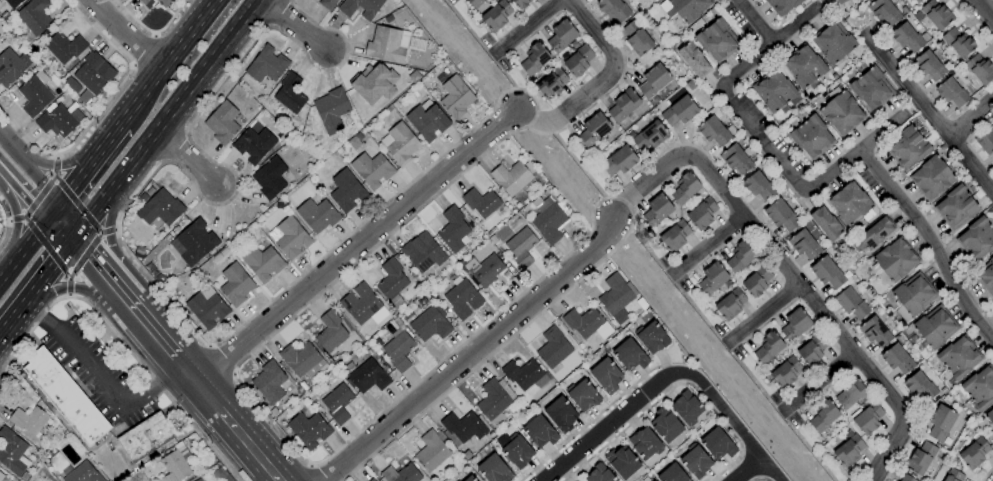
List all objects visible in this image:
building: (840, 1)
building: (914, 1)
building: (917, 1)
building: (143, 2)
building: (521, 2)
building: (13, 3)
building: (163, 3)
building: (474, 3)
building: (328, 4)
building: (782, 5)
building: (360, 8)
building: (684, 8)
building: (613, 9)
building: (883, 11)
road: (983, 11)
building: (936, 14)
building: (496, 15)
building: (35, 16)
road: (751, 21)
road: (291, 23)
road: (972, 25)
road: (529, 29)
road: (151, 31)
road: (126, 32)
road: (154, 35)
building: (561, 36)
building: (907, 37)
building: (637, 38)
building: (717, 40)
building: (833, 41)
road: (181, 42)
building: (958, 42)
building: (392, 44)
building: (64, 47)
road: (142, 49)
road: (468, 57)
building: (534, 59)
building: (578, 60)
building: (693, 60)
road: (131, 64)
building: (266, 65)
building: (928, 65)
building: (11, 66)
building: (803, 66)
building: (980, 69)
building: (93, 76)
building: (653, 82)
building: (374, 83)
building: (551, 84)
road: (603, 86)
building: (871, 89)
building: (775, 91)
building: (952, 92)
building: (290, 93)
building: (35, 94)
road: (182, 94)
building: (456, 97)
road: (136, 103)
building: (623, 105)
road: (925, 107)
road: (101, 108)
building: (331, 110)
building: (679, 111)
building: (842, 113)
road: (970, 117)
building: (59, 120)
building: (427, 120)
building: (222, 123)
building: (593, 129)
building: (714, 129)
road: (114, 131)
building: (649, 136)
building: (811, 137)
building: (985, 140)
road: (767, 141)
building: (400, 143)
building: (254, 145)
building: (908, 148)
road: (9, 149)
road: (185, 157)
road: (56, 158)
building: (736, 159)
building: (619, 161)
road: (64, 164)
road: (54, 169)
building: (372, 169)
road: (463, 171)
road: (1, 172)
road: (81, 173)
building: (931, 177)
building: (270, 178)
building: (511, 178)
road: (37, 181)
building: (758, 186)
building: (684, 188)
building: (346, 191)
road: (24, 196)
road: (38, 198)
building: (483, 203)
building: (850, 203)
traffic signals: (57, 204)
road: (77, 205)
building: (956, 207)
building: (160, 208)
building: (657, 210)
road: (51, 211)
building: (701, 213)
road: (90, 214)
building: (317, 215)
building: (781, 215)
road: (16, 218)
traffic signals: (45, 219)
building: (548, 219)
road: (9, 220)
road: (64, 221)
road: (7, 223)
building: (826, 223)
road: (15, 225)
road: (58, 229)
road: (115, 229)
building: (454, 230)
road: (106, 232)
building: (875, 233)
building: (675, 236)
building: (290, 238)
power tower: (643, 238)
traffic signals: (72, 239)
building: (976, 239)
building: (195, 242)
road: (931, 244)
building: (804, 245)
road: (45, 246)
building: (521, 247)
road: (23, 248)
road: (354, 249)
road: (707, 250)
road: (113, 252)
building: (139, 252)
building: (422, 252)
road: (84, 255)
building: (740, 257)
building: (894, 260)
building: (262, 262)
road: (49, 267)
road: (780, 270)
building: (486, 271)
building: (827, 273)
road: (103, 275)
building: (986, 276)
road: (0, 277)
building: (712, 279)
building: (757, 281)
building: (392, 282)
road: (68, 284)
building: (235, 285)
road: (83, 291)
road: (67, 295)
building: (912, 296)
building: (615, 298)
building: (463, 299)
building: (851, 303)
building: (730, 304)
building: (992, 304)
building: (363, 305)
building: (207, 307)
road: (13, 314)
road: (763, 318)
building: (430, 323)
building: (586, 323)
building: (795, 324)
building: (934, 327)
building: (330, 331)
building: (875, 332)
road: (113, 333)
building: (651, 337)
road: (159, 341)
road: (208, 346)
building: (398, 346)
building: (768, 347)
building: (553, 348)
building: (812, 349)
building: (630, 355)
road: (468, 356)
building: (957, 358)
building: (897, 359)
building: (302, 360)
road: (219, 361)
building: (785, 372)
building: (524, 374)
road: (232, 375)
building: (606, 375)
road: (666, 375)
building: (365, 376)
road: (101, 378)
road: (196, 383)
building: (272, 383)
road: (817, 385)
building: (920, 386)
building: (980, 388)
building: (850, 393)
building: (583, 395)
building: (65, 396)
building: (495, 400)
building: (338, 403)
building: (686, 408)
building: (561, 414)
building: (823, 415)
building: (990, 416)
building: (868, 418)
building: (28, 420)
building: (940, 423)
building: (665, 424)
building: (463, 426)
building: (309, 429)
building: (539, 432)
building: (146, 437)
road: (243, 439)
building: (645, 443)
building: (718, 444)
building: (848, 448)
building: (515, 449)
building: (12, 452)
building: (432, 453)
building: (974, 454)
building: (920, 458)
building: (696, 461)
building: (622, 462)
building: (175, 464)
building: (494, 469)
road: (745, 469)
building: (81, 473)
road: (987, 473)
building: (401, 474)
building: (599, 474)
building: (672, 474)
building: (1, 476)
building: (953, 476)
building: (906, 478)
building: (470, 479)
road: (760, 479)
building: (198, 480)
building: (371, 480)
building: (579, 480)
building: (891, 480)

